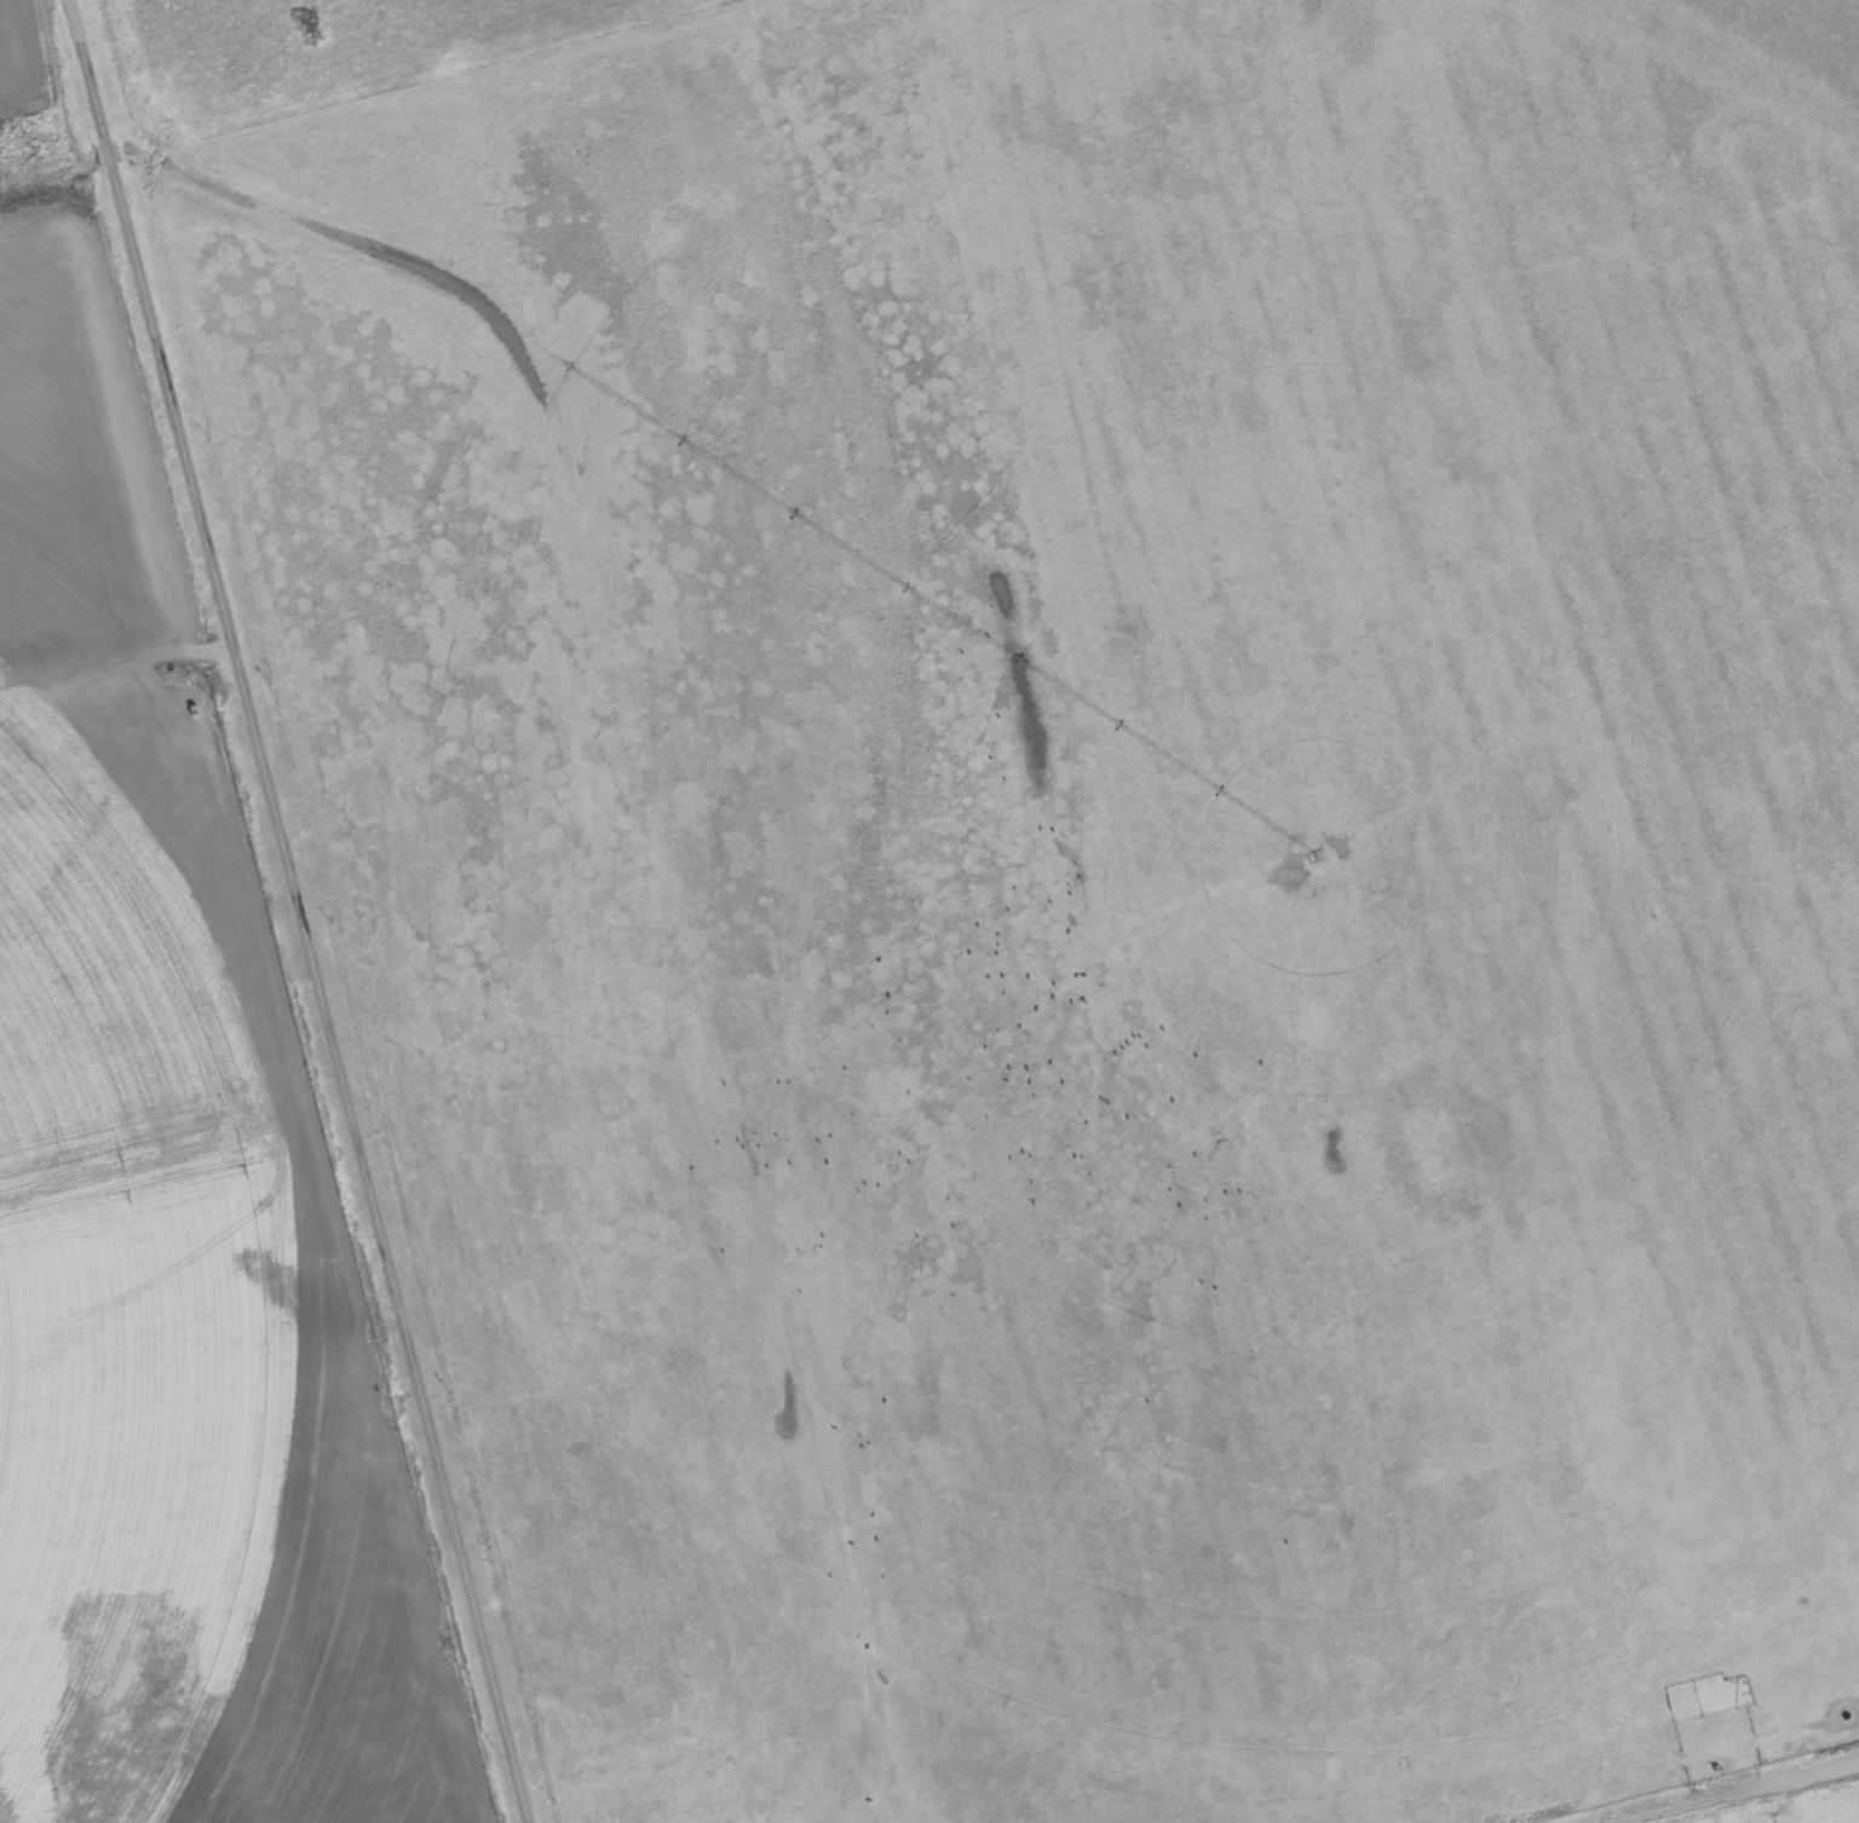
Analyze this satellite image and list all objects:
road: (292, 911)
road: (1733, 1790)

